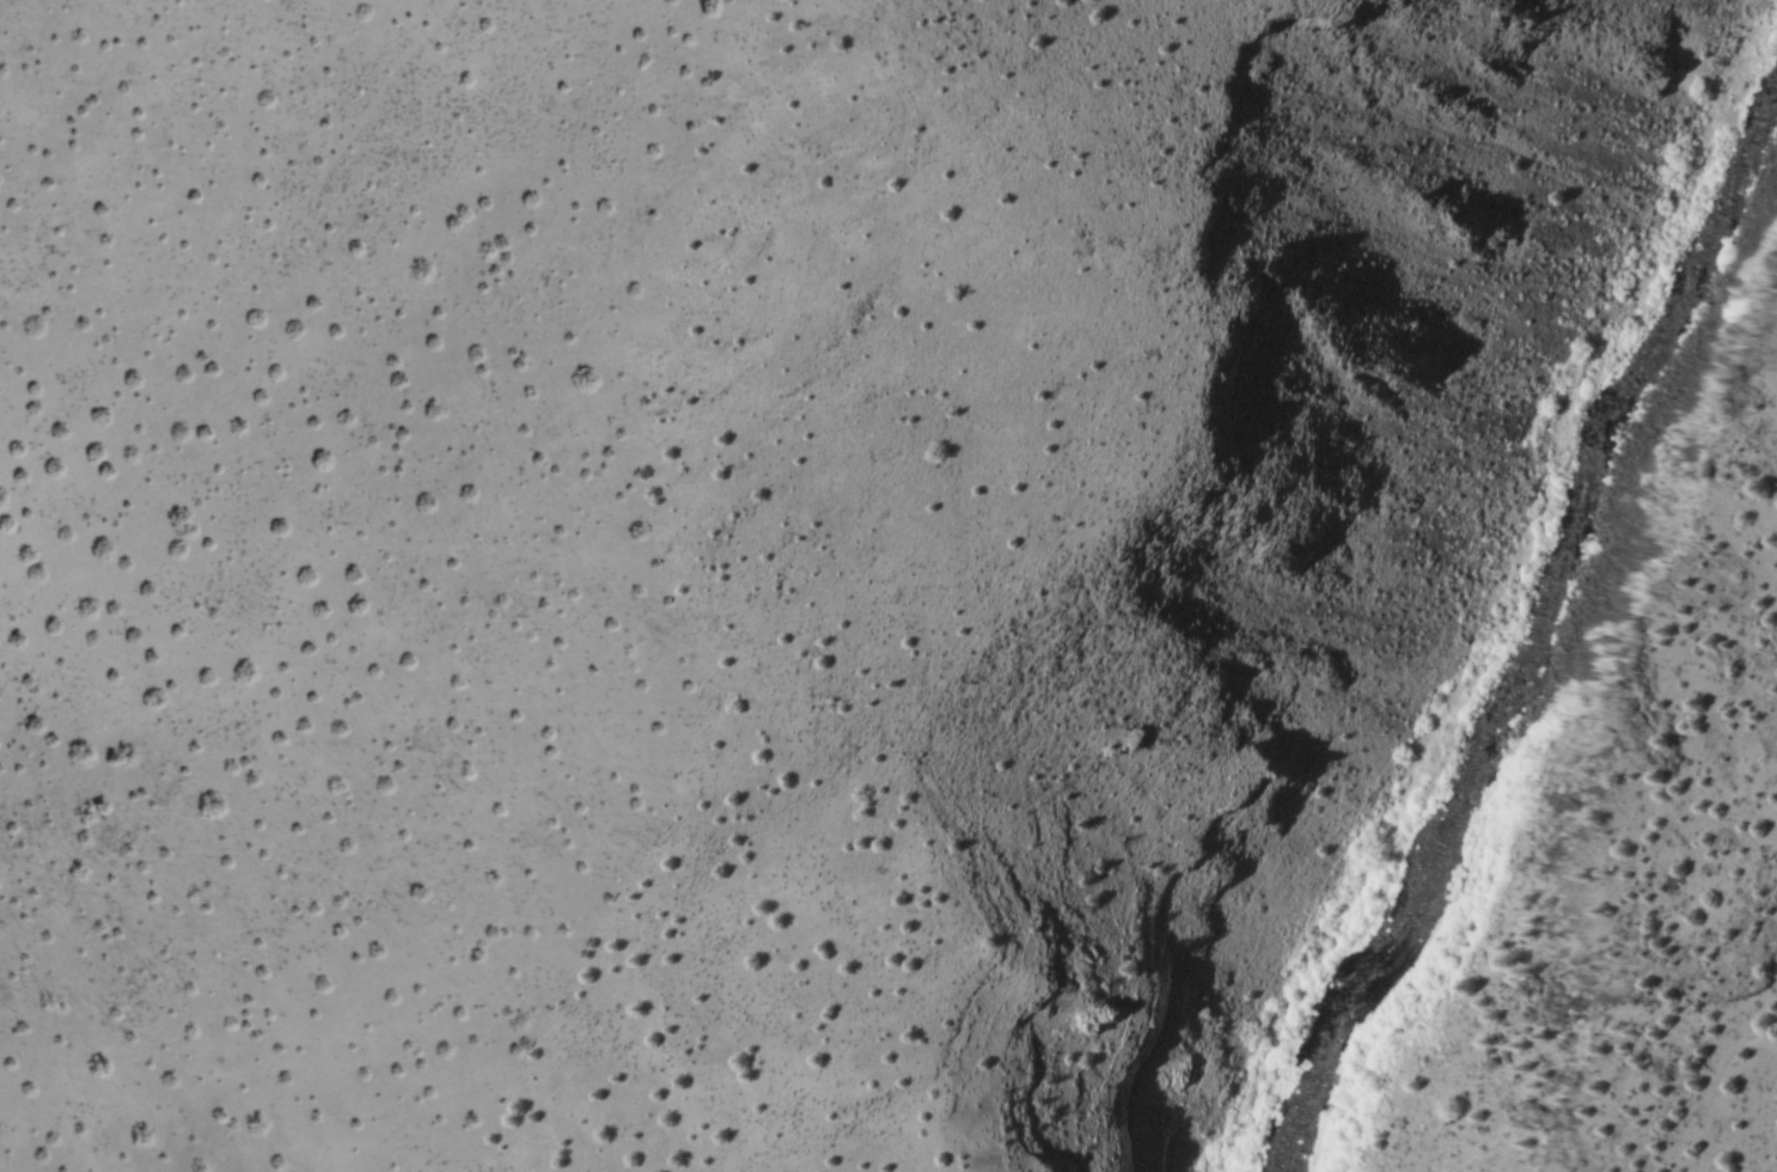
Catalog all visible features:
river: (1526, 637)

